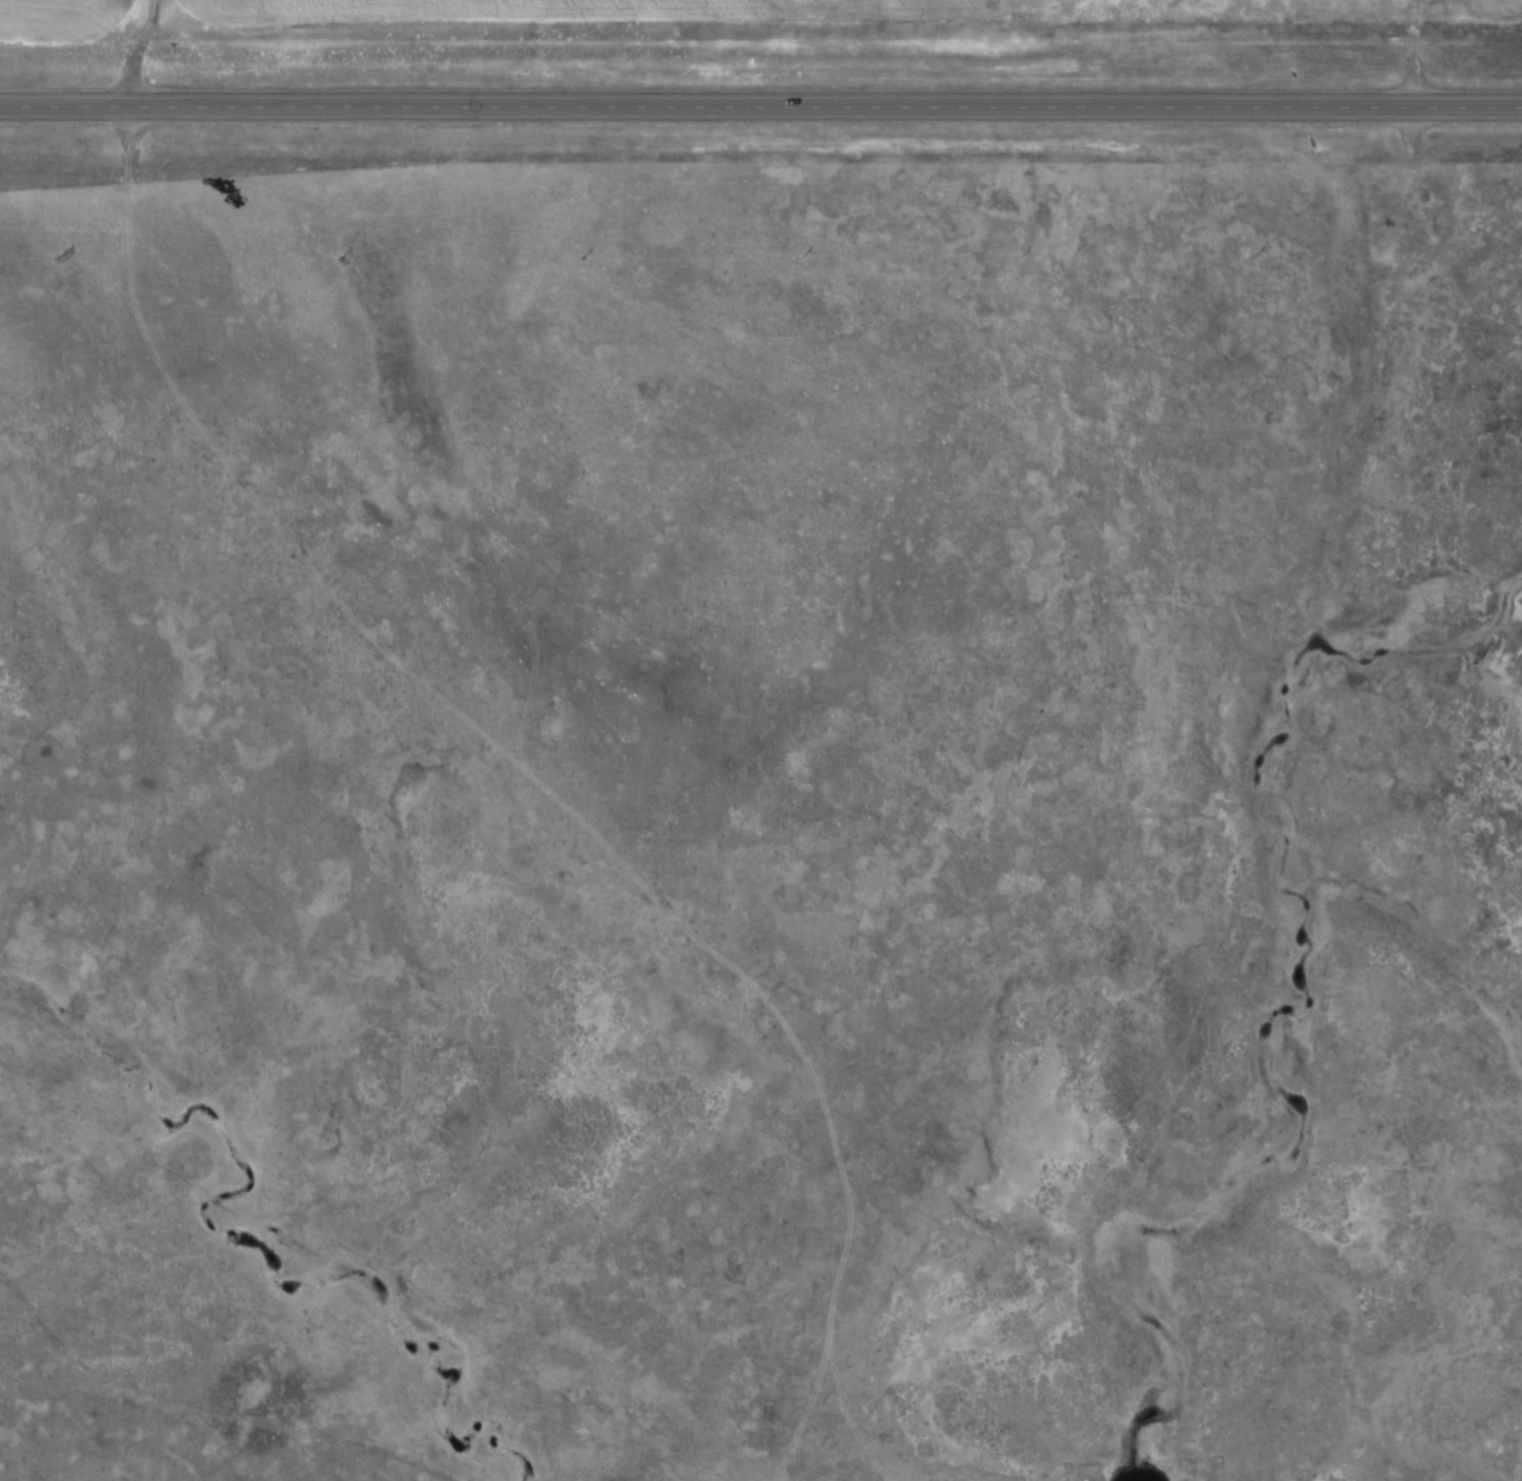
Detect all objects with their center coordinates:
road: (761, 114)

